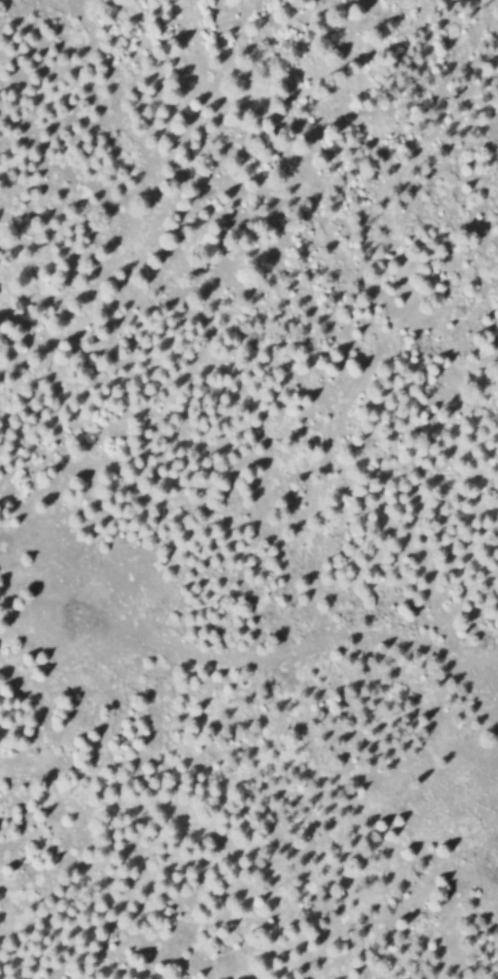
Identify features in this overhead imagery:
road: (301, 647)

